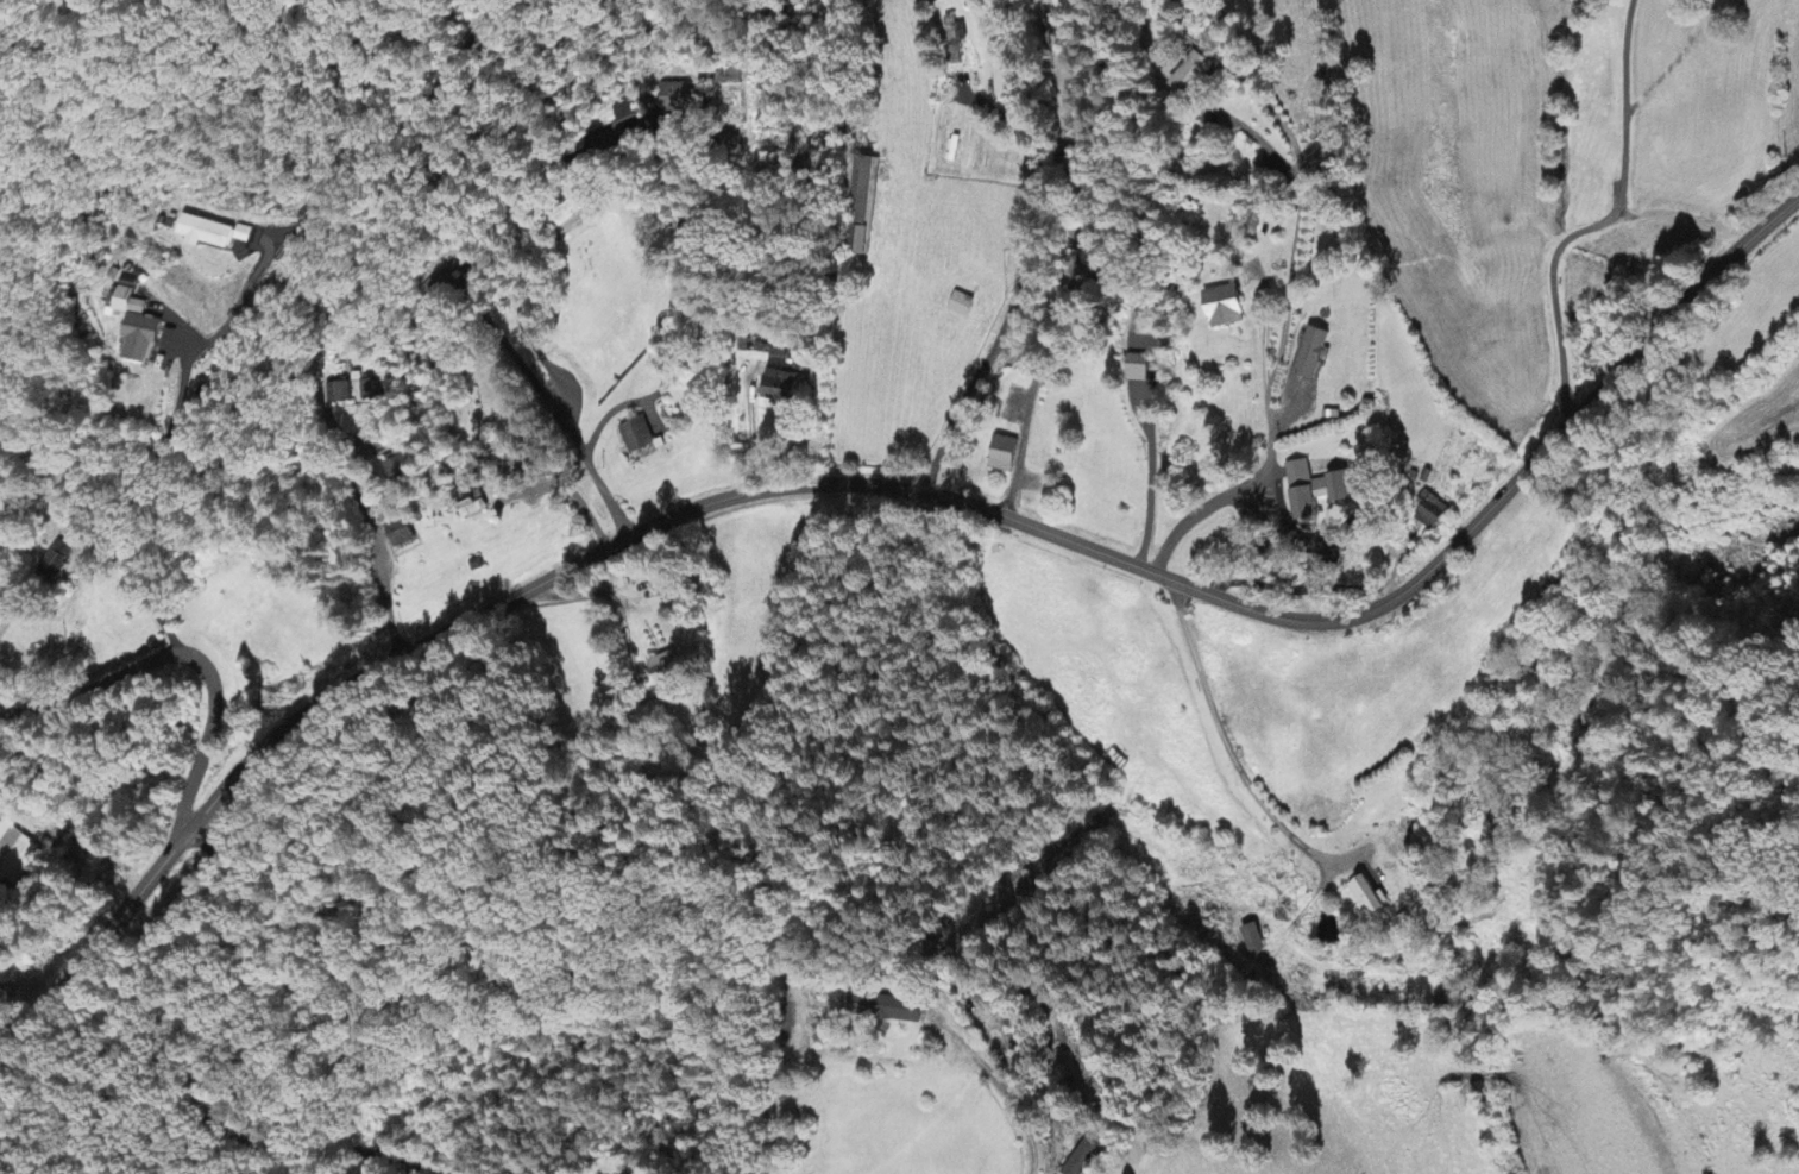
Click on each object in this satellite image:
building: (955, 39)
building: (1194, 74)
building: (674, 96)
building: (635, 119)
building: (1256, 221)
road: (1600, 221)
road: (1020, 255)
road: (1287, 301)
building: (962, 306)
building: (1228, 307)
building: (1150, 324)
building: (136, 326)
road: (541, 338)
building: (1314, 354)
building: (1138, 369)
building: (780, 389)
building: (372, 390)
building: (339, 394)
park: (466, 409)
building: (637, 437)
building: (1005, 456)
road: (892, 489)
building: (1316, 491)
building: (474, 509)
building: (1432, 511)
building: (402, 535)
road: (377, 540)
building: (58, 558)
road: (181, 655)
building: (666, 670)
road: (1226, 732)
building: (14, 854)
building: (1370, 899)
building: (1254, 940)
building: (886, 1010)
road: (210, 1069)
road: (1005, 1098)
building: (1057, 1161)

